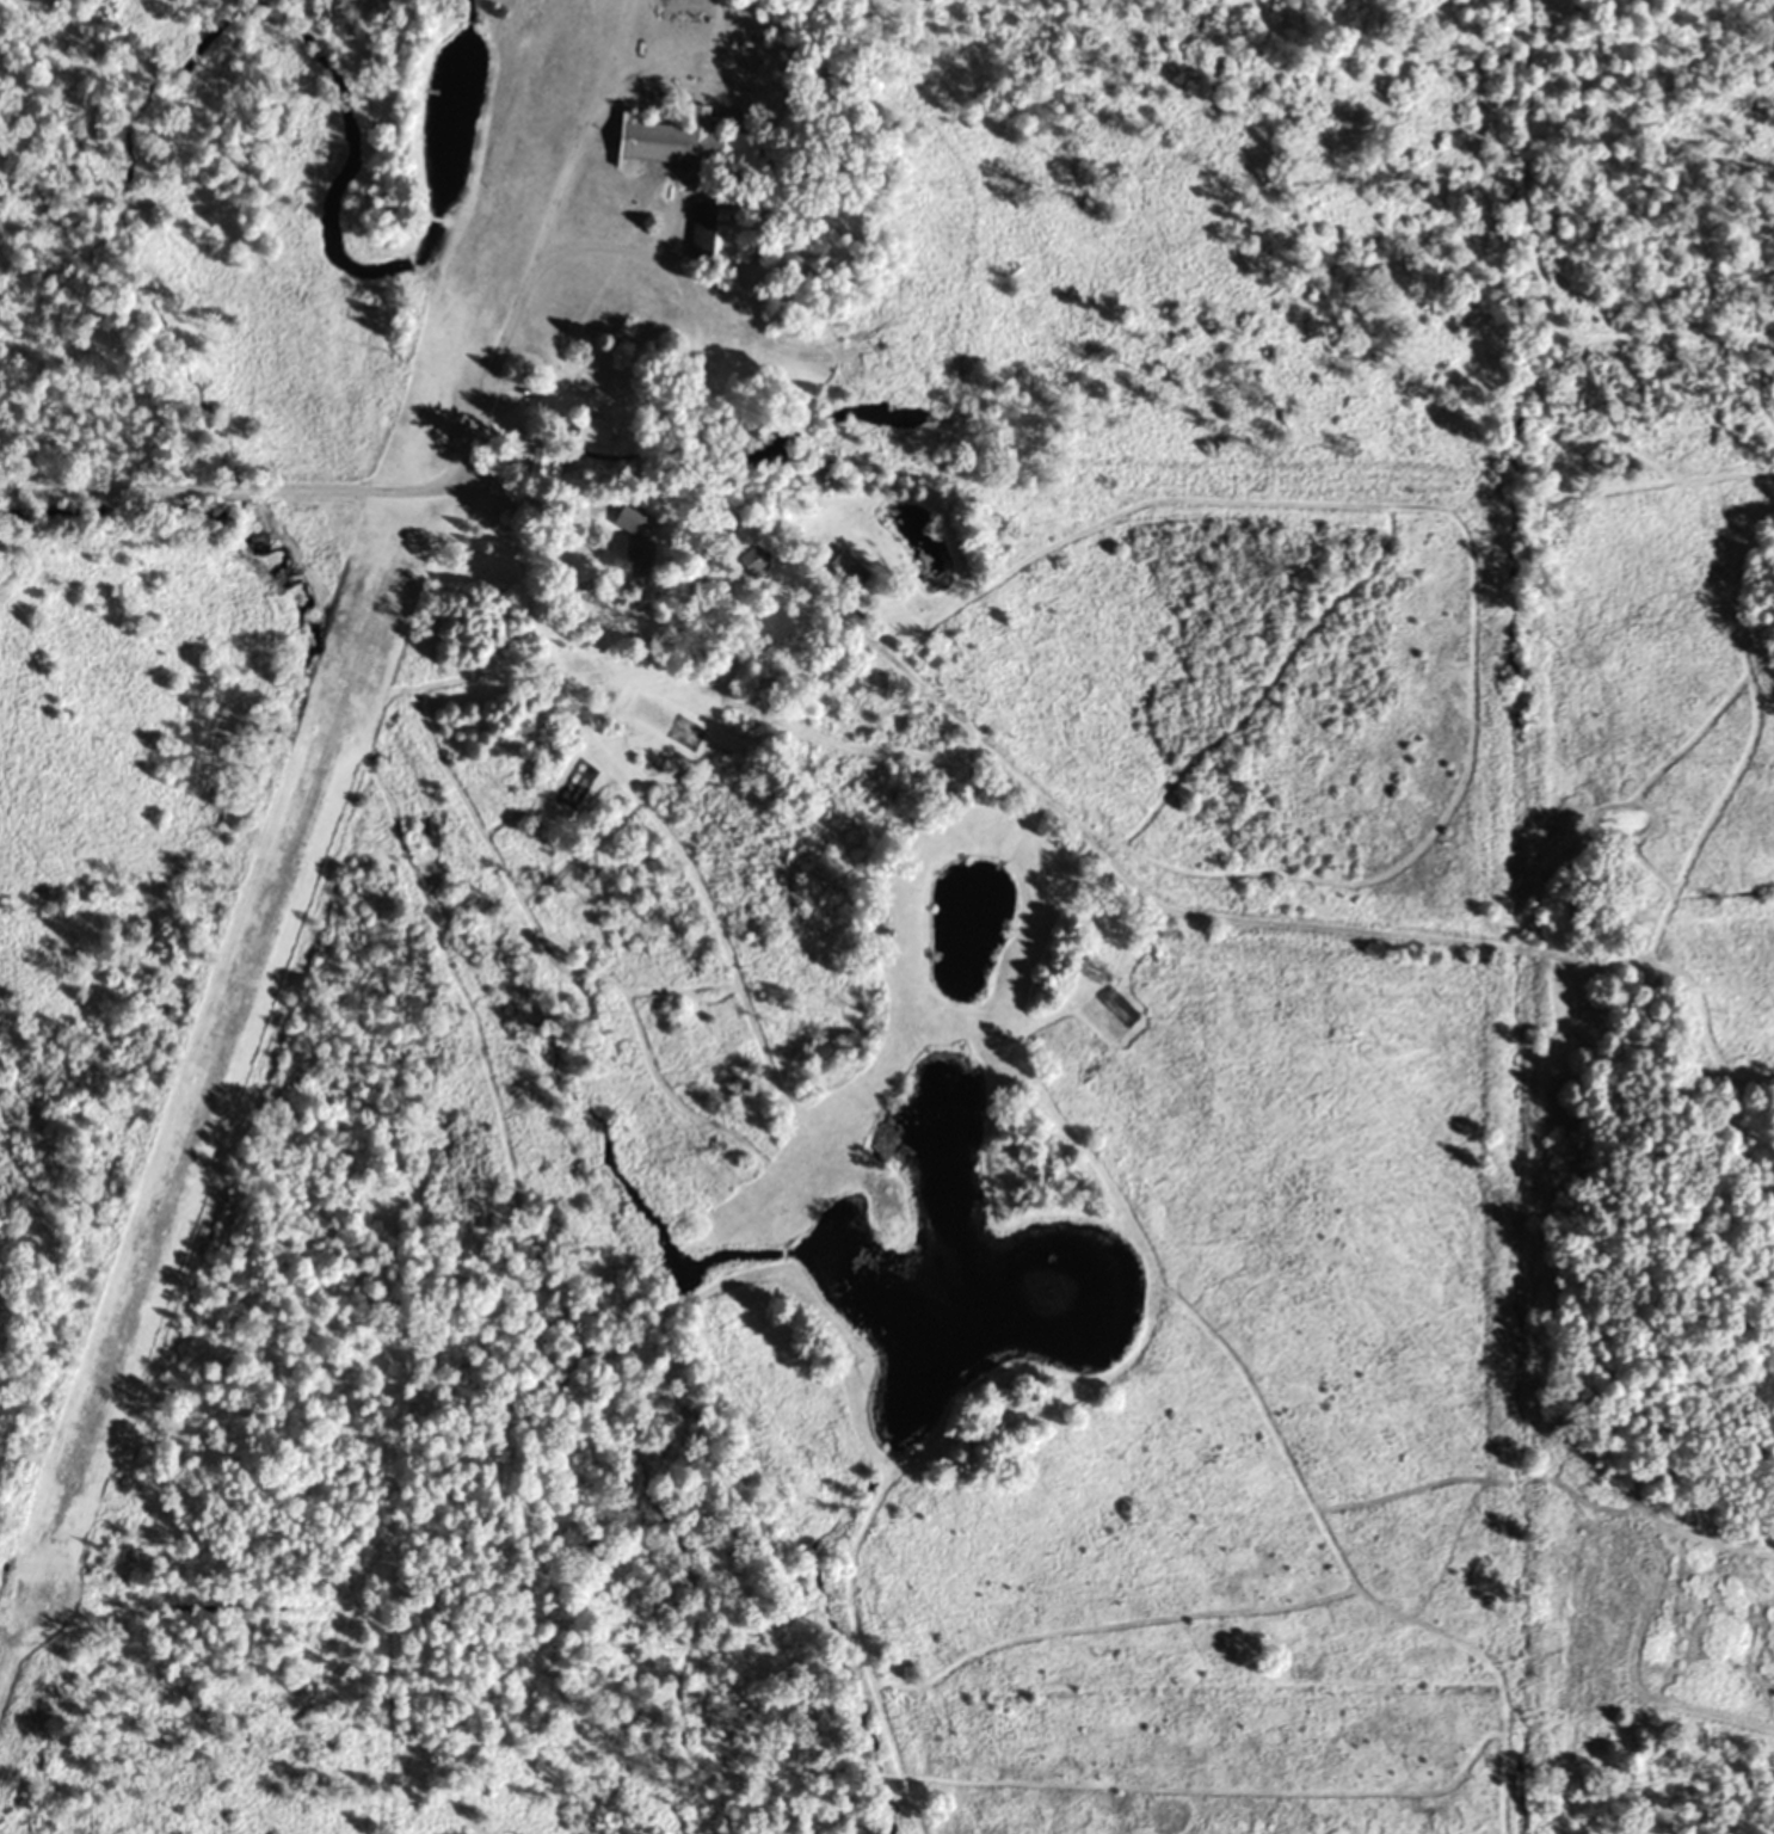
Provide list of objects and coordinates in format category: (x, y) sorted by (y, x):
building: (690, 136)
building: (734, 233)
road: (456, 460)
road: (519, 490)
building: (632, 544)
airport runway: (303, 801)

